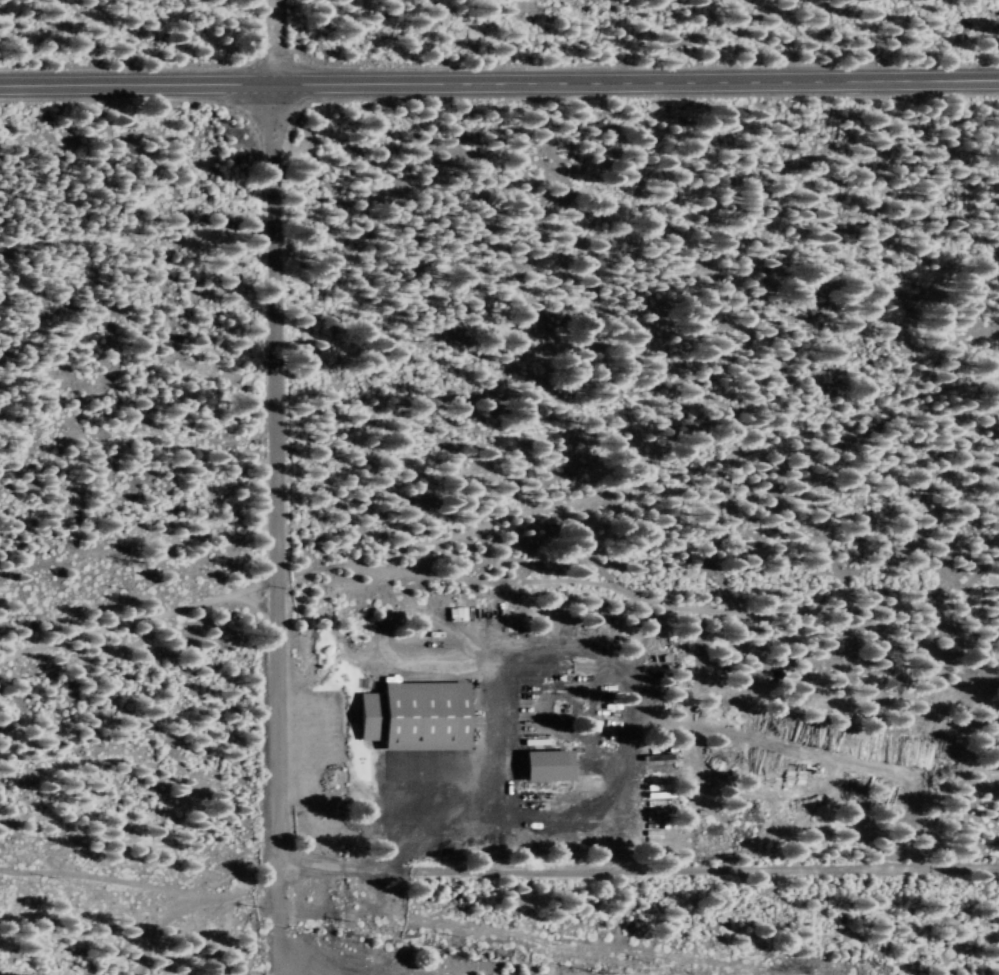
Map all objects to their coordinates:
road: (499, 76)
road: (276, 487)
building: (414, 715)
building: (546, 765)
road: (641, 866)

